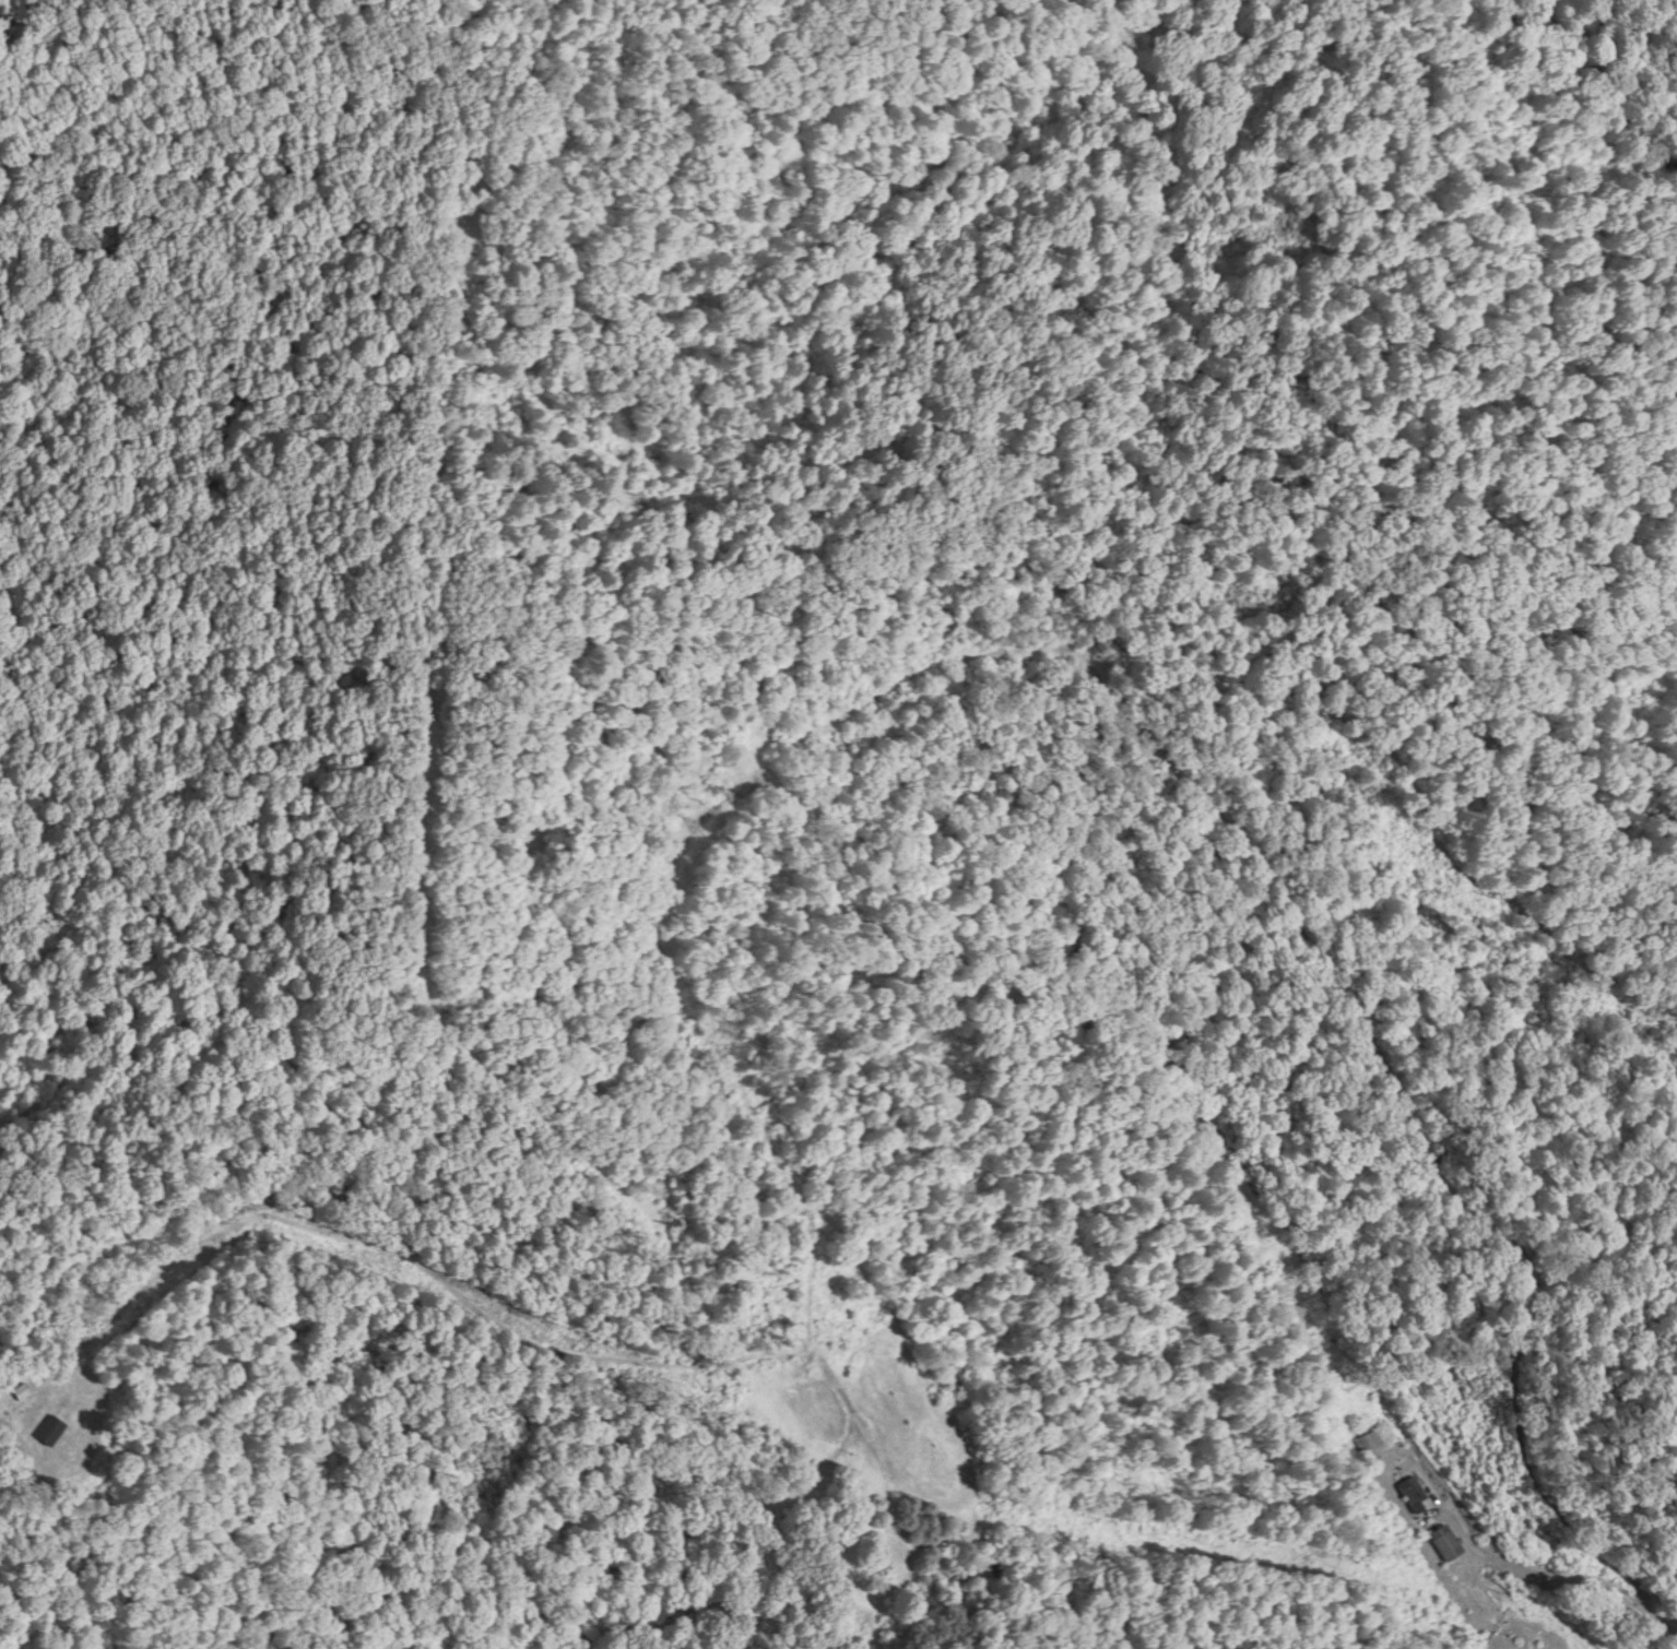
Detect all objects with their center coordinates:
building: (22, 1387)
building: (50, 1426)
building: (1367, 1438)
building: (1445, 1540)
road: (1583, 1571)

